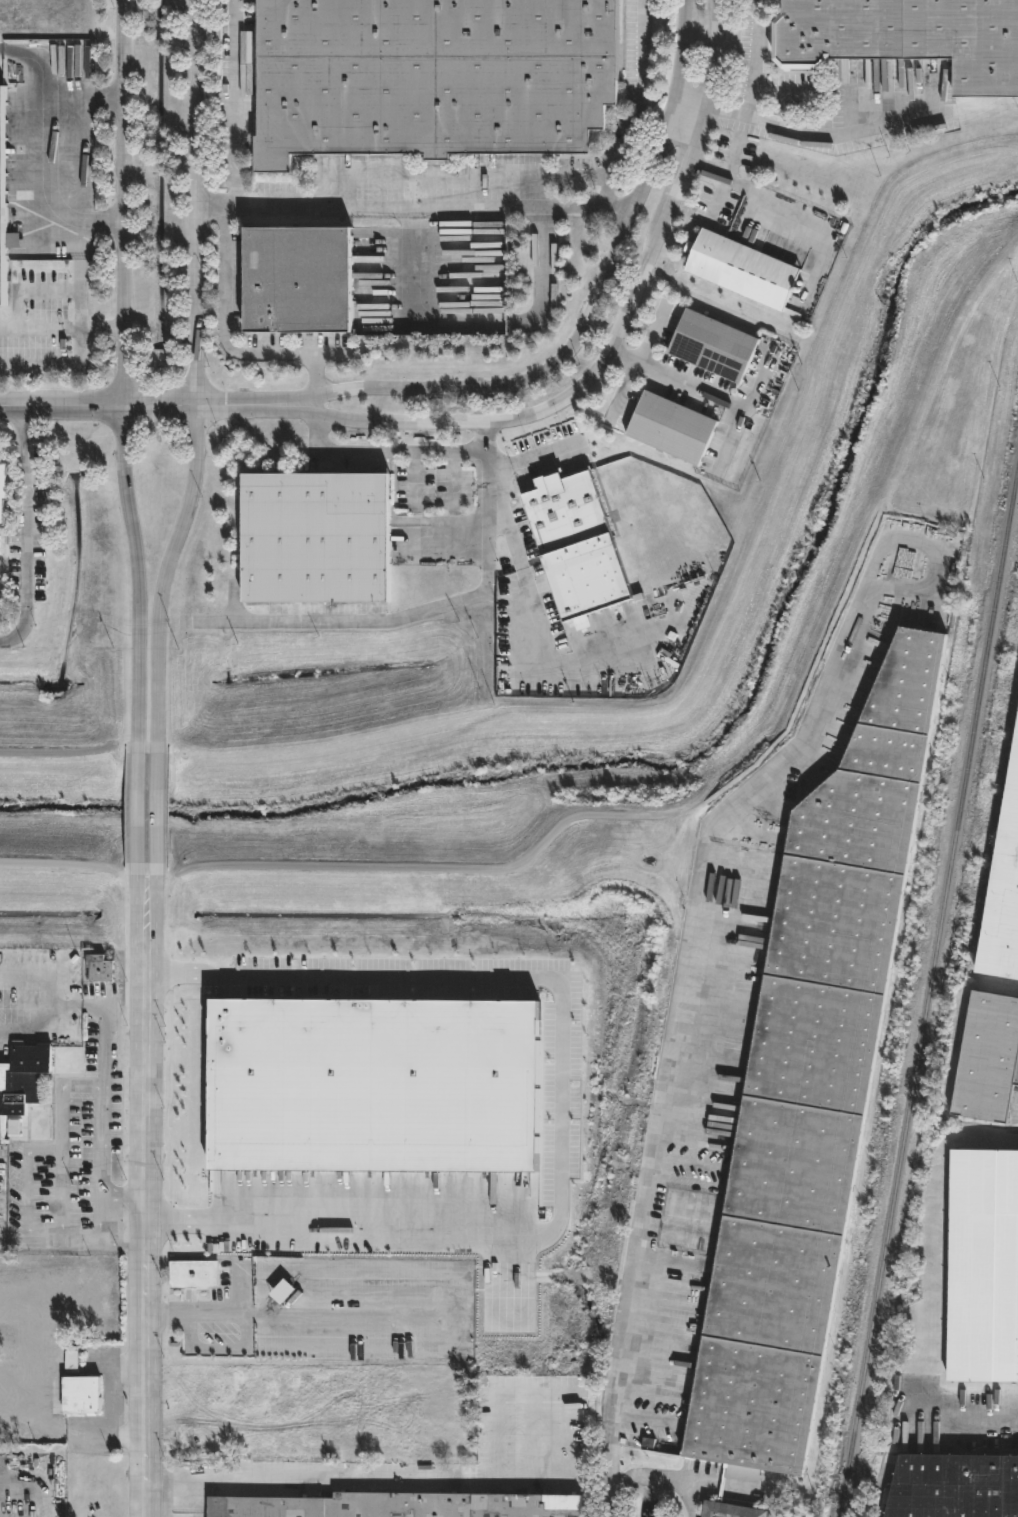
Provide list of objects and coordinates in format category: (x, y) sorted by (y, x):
building: (906, 38)
road: (717, 54)
road: (754, 59)
building: (430, 77)
road: (43, 79)
road: (108, 99)
road: (233, 104)
road: (694, 105)
road: (820, 135)
road: (689, 161)
road: (728, 168)
road: (706, 172)
road: (40, 187)
road: (123, 201)
road: (197, 203)
road: (504, 207)
road: (615, 208)
road: (771, 210)
road: (108, 220)
road: (404, 221)
building: (0, 233)
building: (741, 271)
road: (80, 275)
building: (295, 281)
road: (589, 307)
road: (492, 320)
road: (116, 329)
road: (94, 330)
road: (40, 331)
road: (229, 344)
building: (712, 347)
road: (328, 357)
road: (57, 366)
road: (672, 380)
road: (62, 405)
road: (161, 405)
road: (252, 406)
road: (544, 410)
building: (670, 429)
road: (393, 450)
road: (532, 456)
building: (2, 491)
road: (26, 530)
building: (313, 539)
road: (138, 572)
road: (169, 572)
road: (434, 607)
road: (541, 629)
road: (137, 818)
road: (155, 818)
railway: (993, 832)
road: (698, 885)
building: (1003, 890)
building: (98, 970)
road: (34, 981)
railway: (927, 994)
road: (78, 1008)
road: (32, 1028)
road: (101, 1049)
building: (987, 1061)
building: (21, 1078)
building: (372, 1078)
building: (809, 1084)
road: (560, 1103)
building: (12, 1129)
road: (100, 1143)
road: (26, 1163)
road: (123, 1199)
road: (147, 1205)
road: (99, 1221)
road: (13, 1242)
road: (122, 1243)
building: (982, 1268)
building: (192, 1276)
road: (245, 1288)
road: (169, 1311)
road: (218, 1312)
road: (246, 1331)
building: (5, 1347)
road: (200, 1348)
building: (79, 1396)
road: (957, 1415)
road: (649, 1477)
road: (473, 1479)
road: (609, 1479)
road: (749, 1486)
building: (953, 1487)
road: (693, 1498)
building: (396, 1506)
building: (727, 1511)

